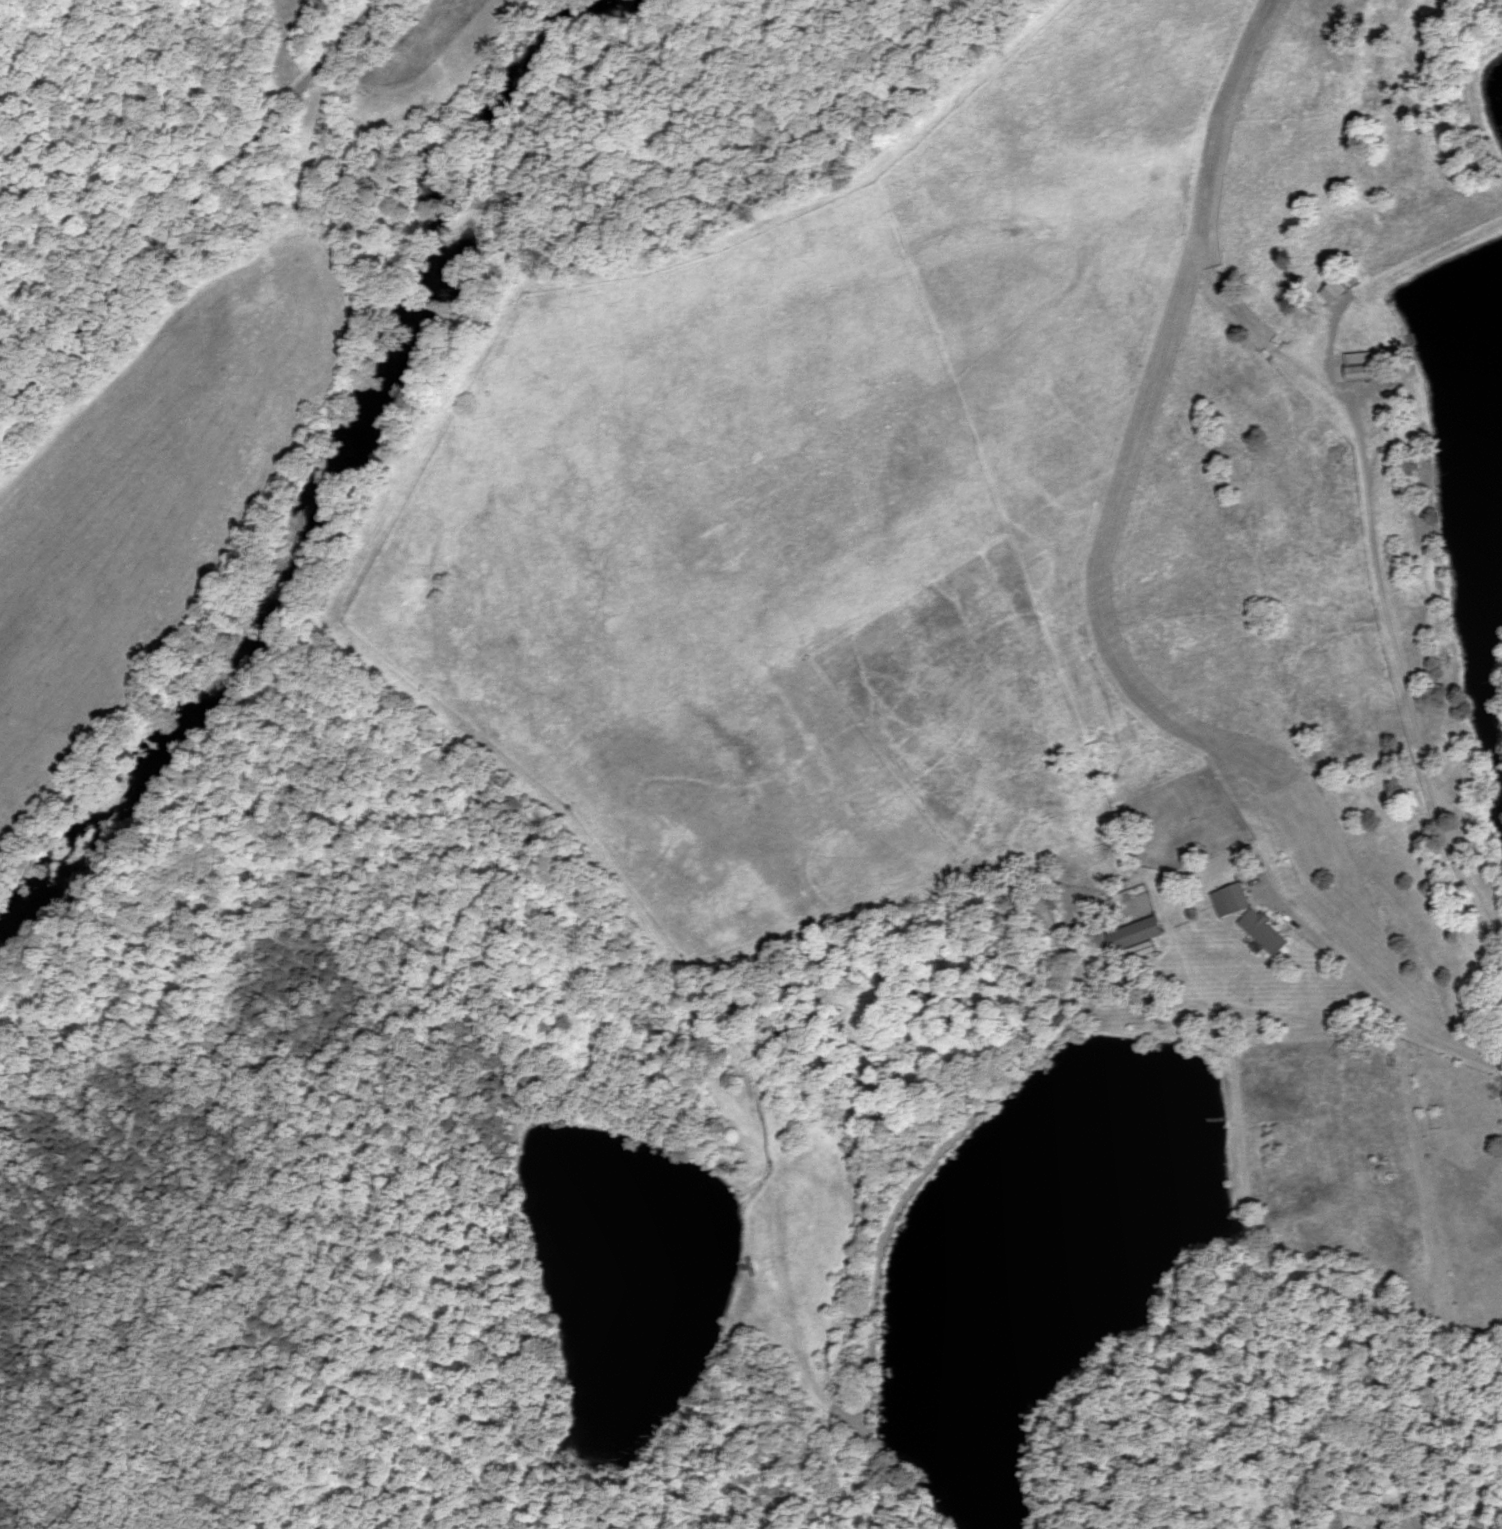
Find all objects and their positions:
building: (1361, 367)
river: (346, 465)
road: (1405, 690)
building: (1232, 901)
building: (1264, 933)
building: (1136, 935)
road: (1382, 1000)
building: (1062, 1019)
building: (1355, 1528)

